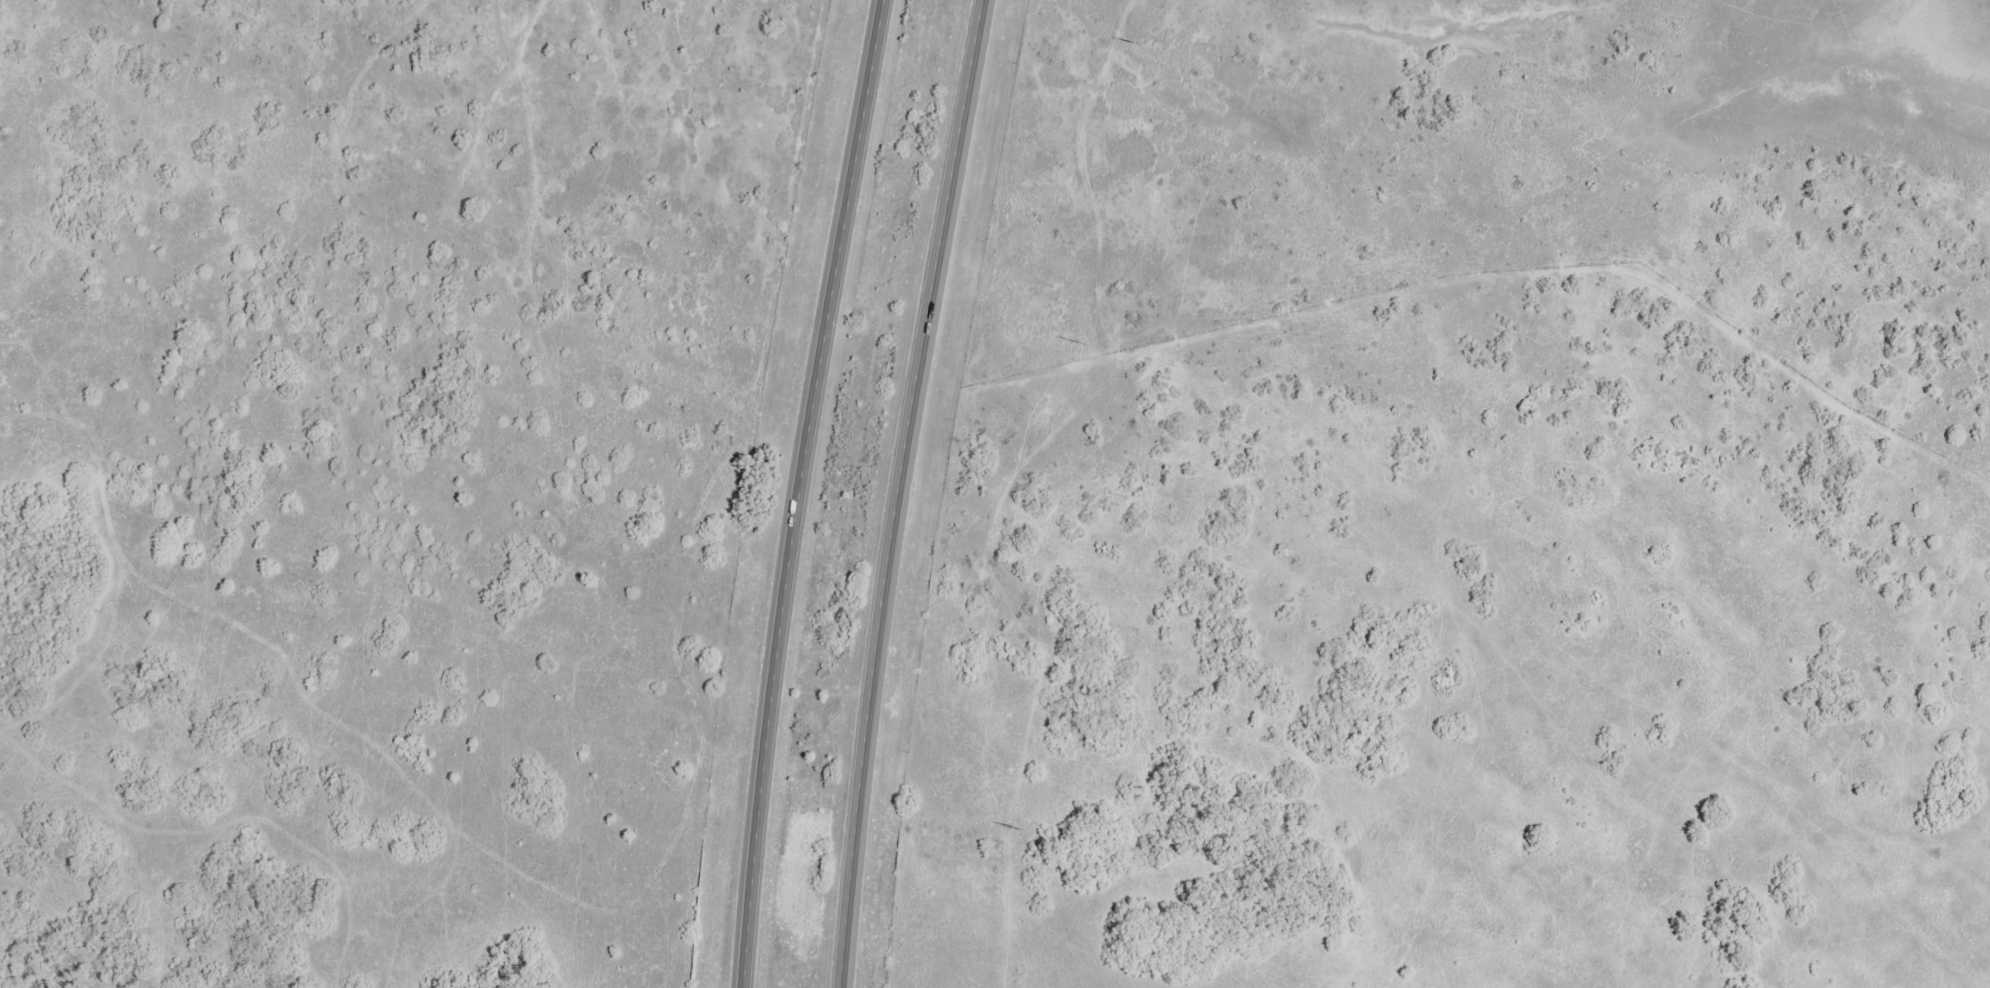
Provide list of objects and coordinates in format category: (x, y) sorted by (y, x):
power tower: (1136, 43)
power tower: (1084, 343)
road: (808, 492)
road: (903, 492)
power tower: (1022, 829)

